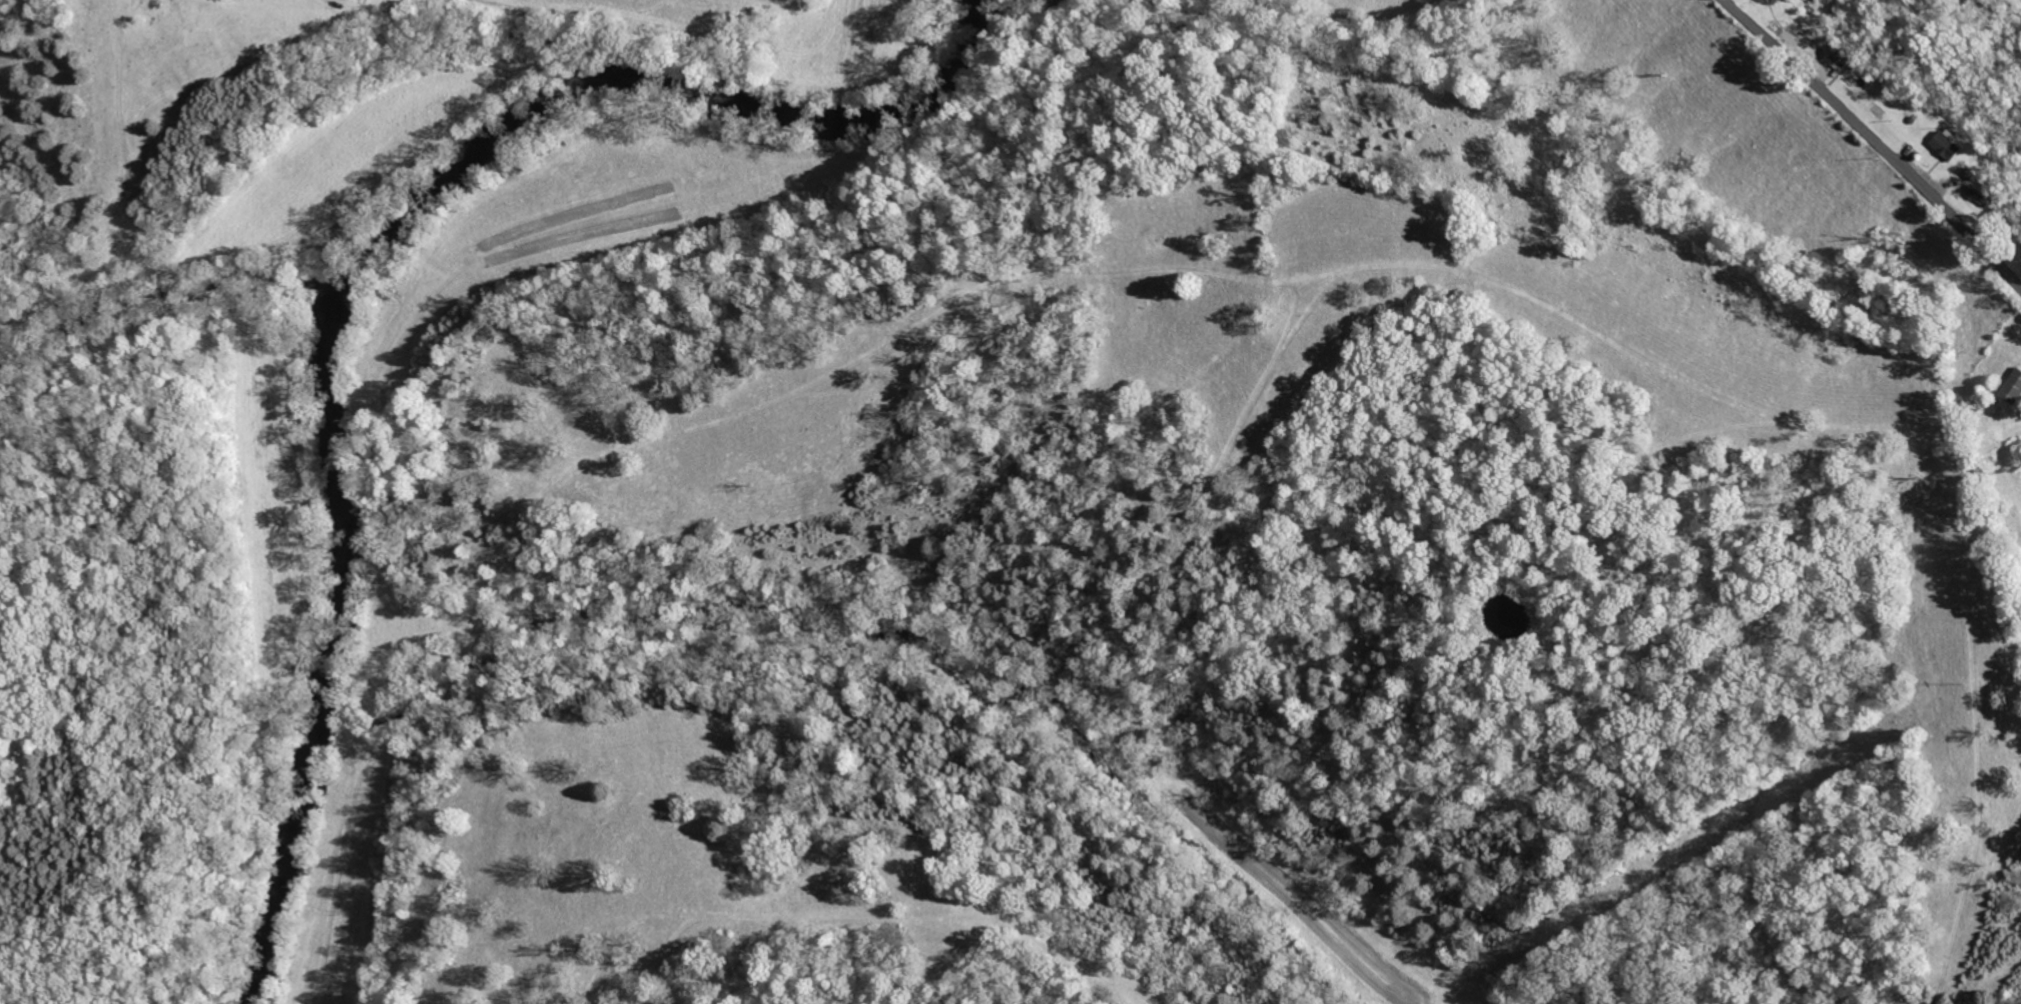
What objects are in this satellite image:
road: (1875, 141)
building: (2012, 387)

